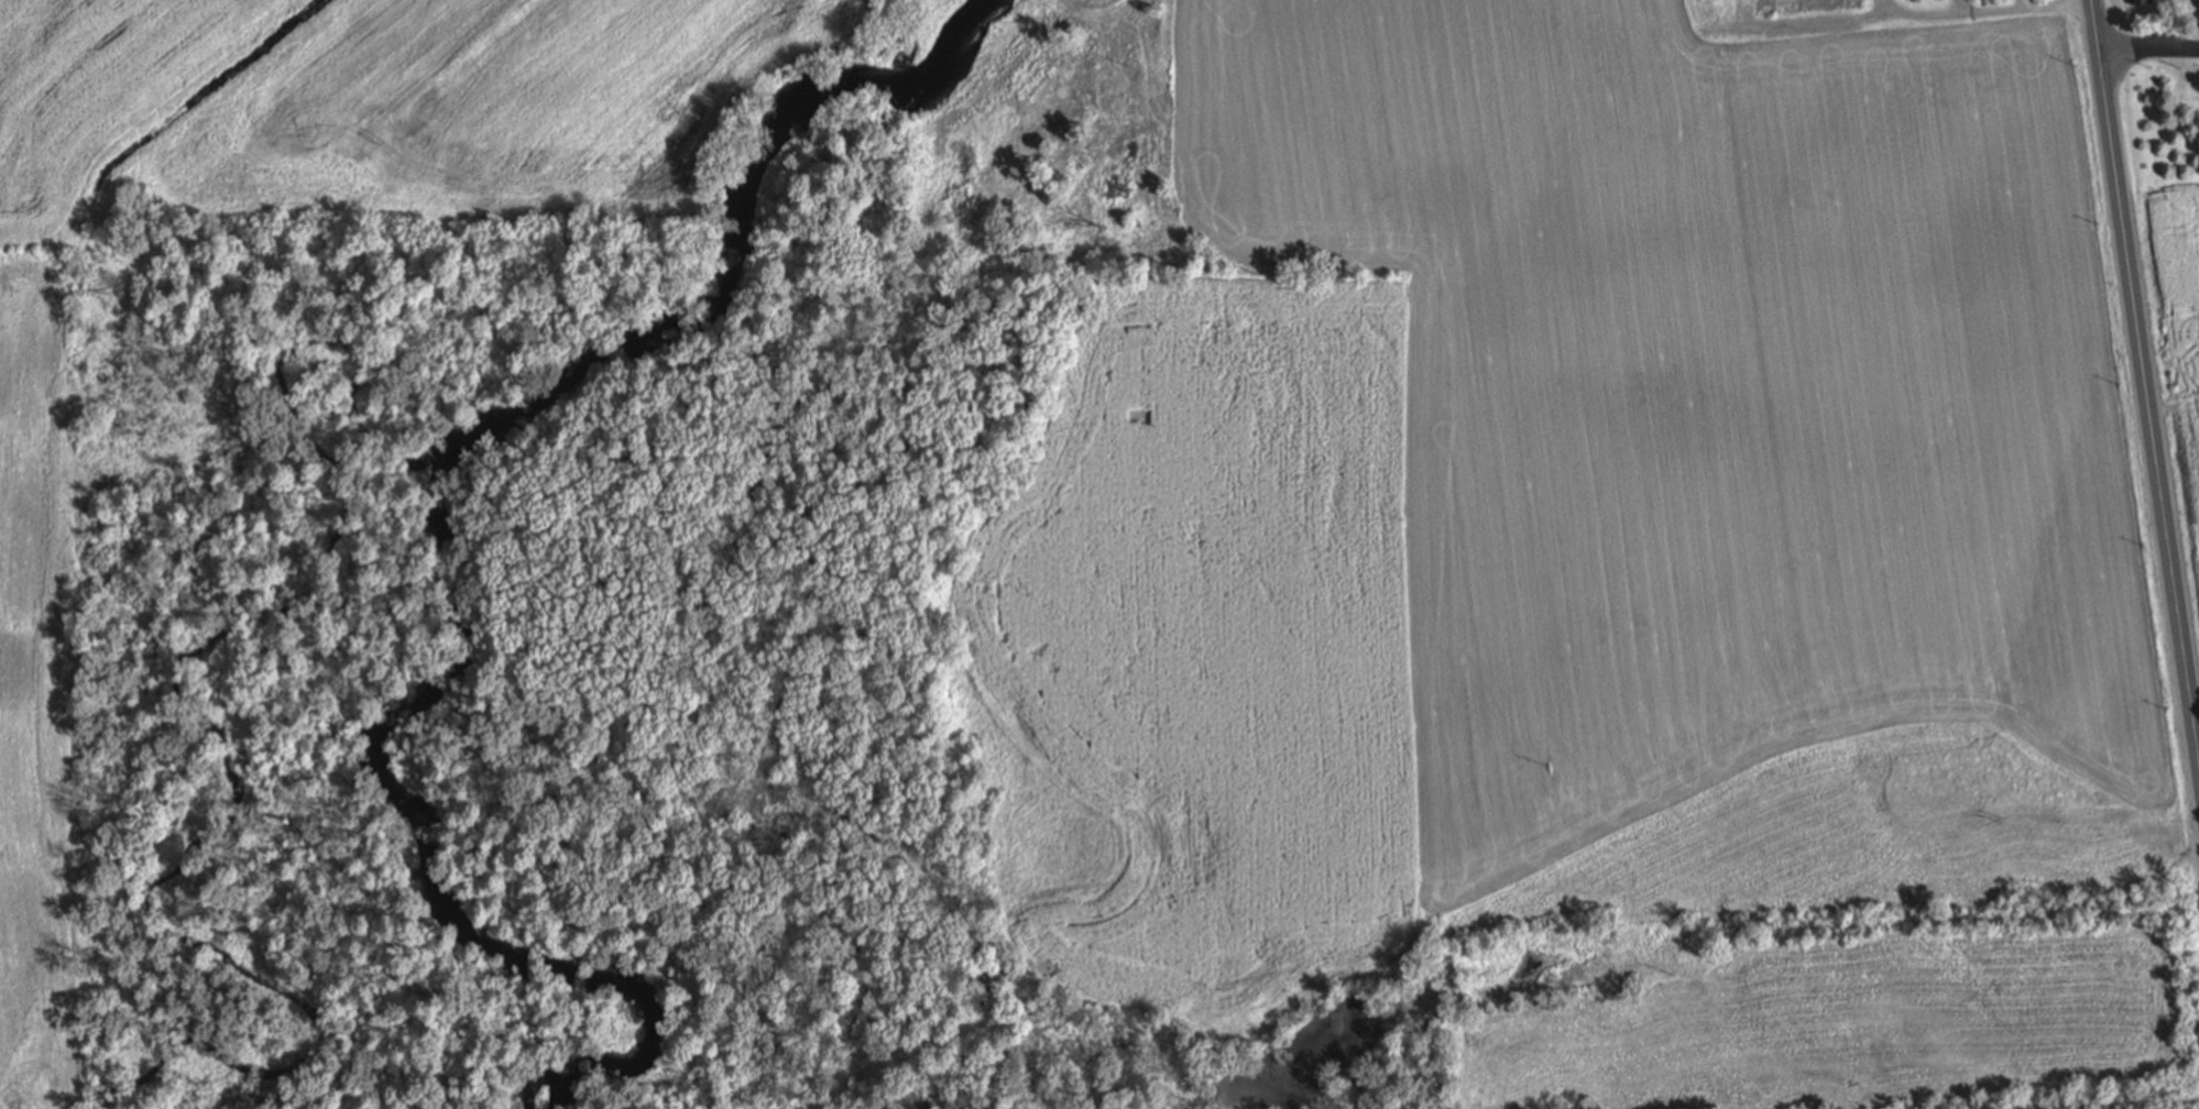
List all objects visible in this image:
building: (2140, 2)
road: (2022, 8)
road: (1926, 14)
road: (1813, 21)
road: (2148, 48)
crop: (97, 86)
crop: (503, 101)
crop: (2181, 310)
road: (2144, 377)
crop: (1546, 475)
river: (470, 492)

